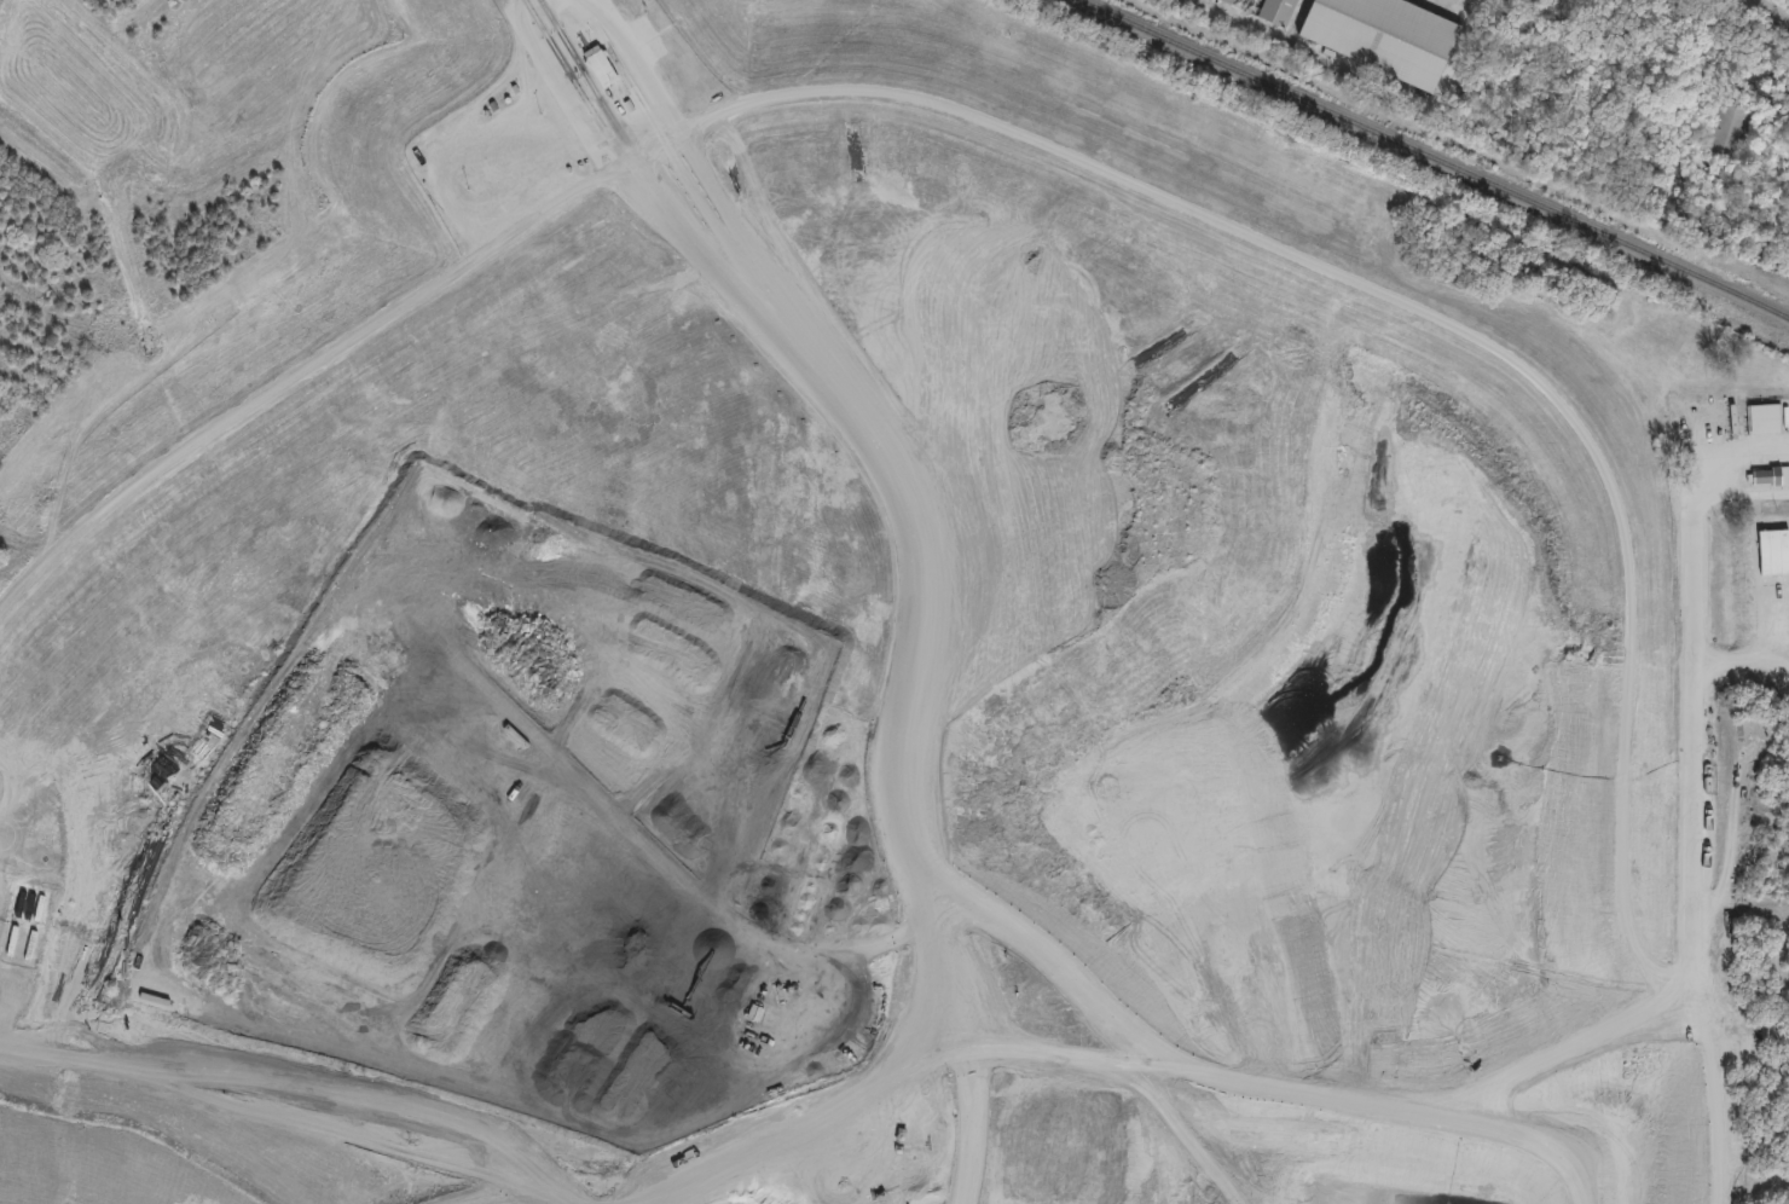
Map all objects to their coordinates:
building: (1231, 1)
building: (1279, 11)
road: (1770, 12)
building: (1384, 35)
building: (602, 70)
road: (580, 75)
building: (1729, 128)
railway: (1435, 156)
building: (1765, 476)
road: (1743, 492)
road: (1691, 568)
landfill: (847, 638)

